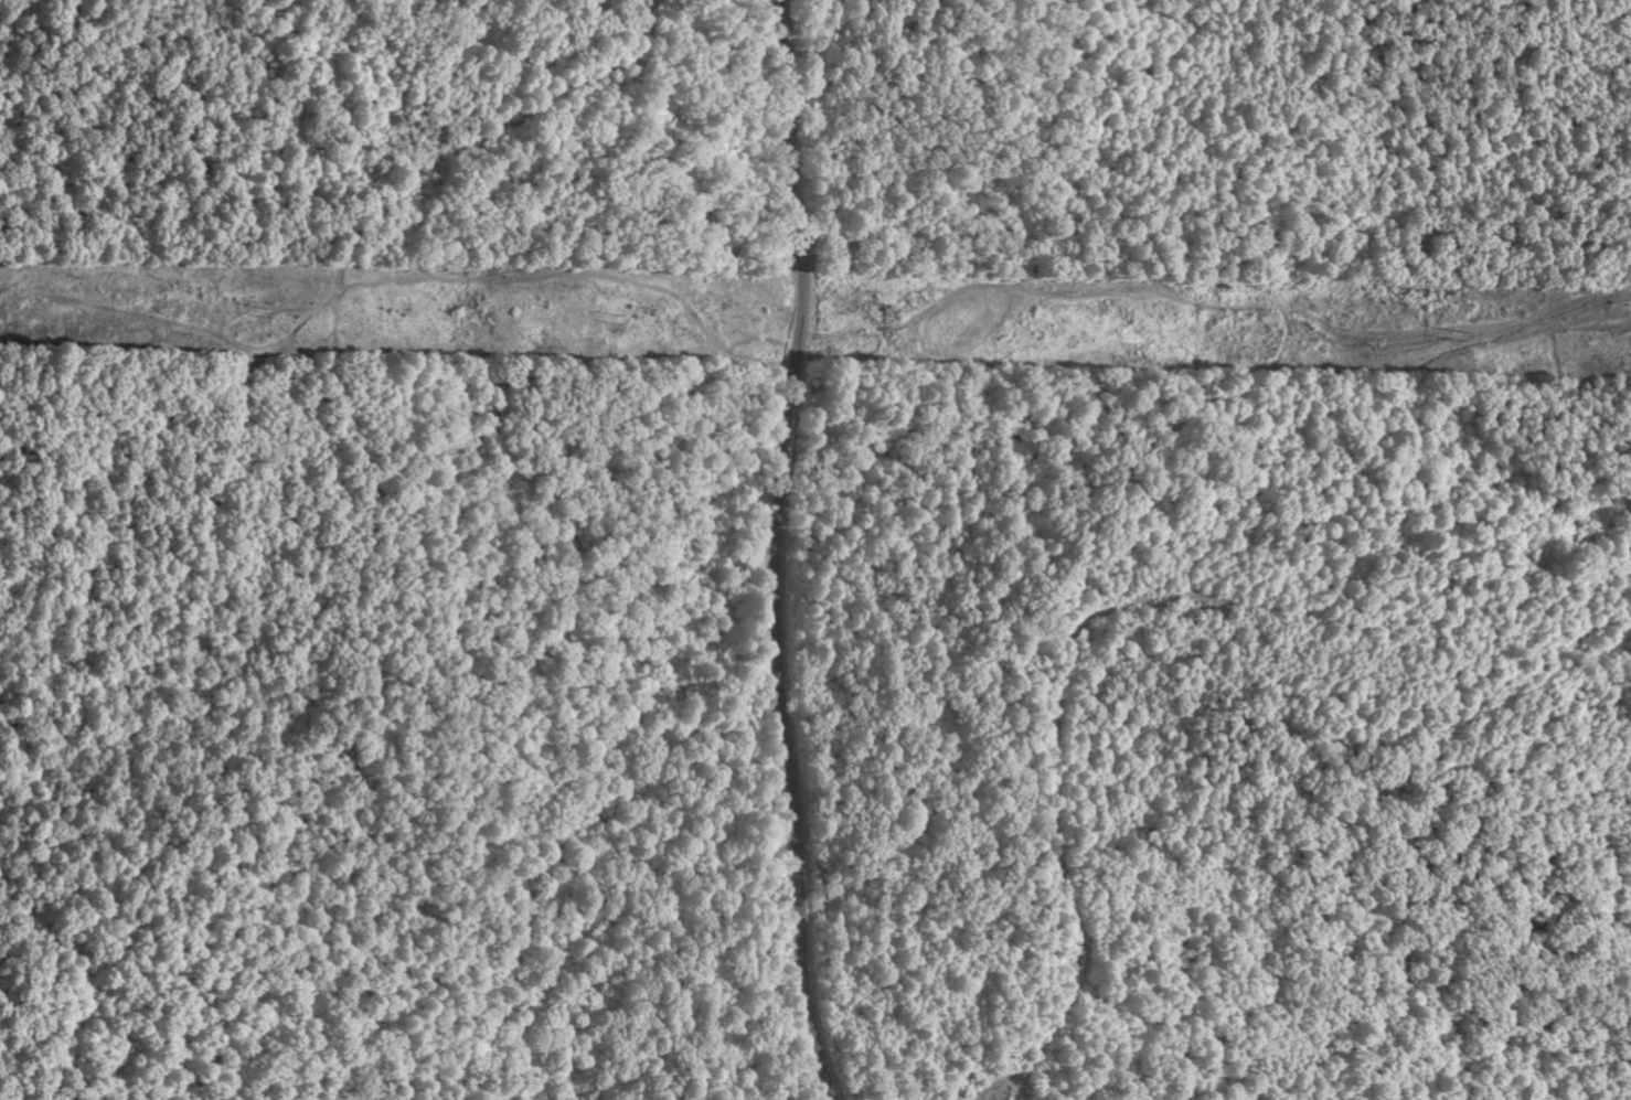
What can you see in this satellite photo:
road: (365, 536)
road: (779, 551)
road: (611, 835)

